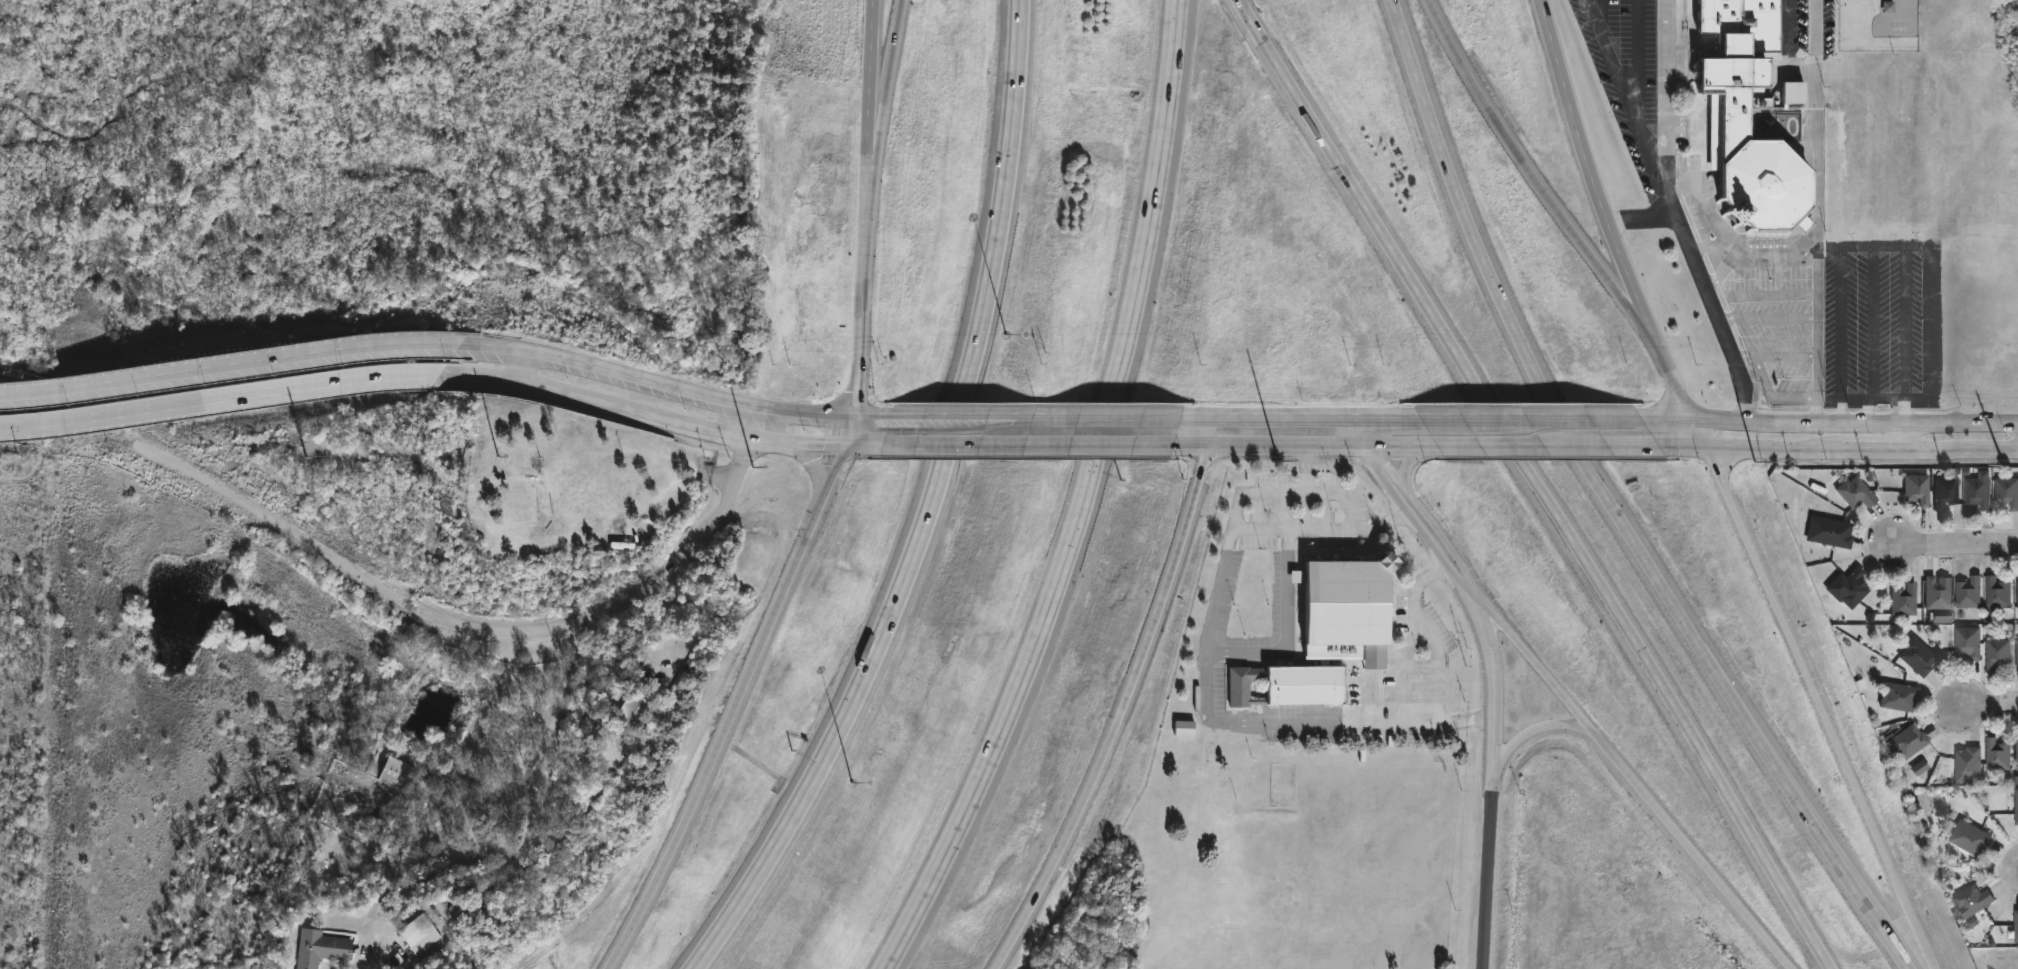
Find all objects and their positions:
road: (1251, 21)
road: (894, 50)
road: (1801, 58)
road: (1665, 72)
building: (1789, 92)
building: (1725, 113)
road: (1640, 125)
road: (1509, 137)
road: (876, 140)
road: (1589, 162)
road: (1668, 162)
road: (1819, 210)
road: (864, 222)
road: (1753, 255)
road: (1703, 283)
road: (1626, 293)
street lamp: (1007, 334)
road: (230, 361)
road: (523, 363)
road: (658, 380)
road: (1680, 382)
road: (1937, 389)
road: (221, 393)
road: (643, 409)
road: (1903, 410)
road: (872, 415)
road: (954, 415)
road: (1099, 416)
road: (1265, 417)
road: (1387, 420)
road: (1470, 420)
road: (1580, 420)
road: (1830, 421)
road: (1901, 436)
road: (1549, 442)
road: (863, 444)
road: (1027, 444)
road: (1306, 444)
road: (1837, 450)
power tower: (315, 459)
road: (1407, 461)
road: (819, 464)
road: (1304, 468)
building: (1916, 488)
building: (1854, 492)
building: (1945, 492)
building: (1976, 492)
building: (2006, 492)
road: (1084, 500)
road: (1414, 502)
road: (1552, 504)
road: (1613, 504)
road: (1402, 505)
road: (928, 509)
road: (1326, 526)
road: (1262, 527)
building: (1833, 532)
road: (1953, 543)
road: (345, 565)
building: (1851, 587)
building: (1936, 591)
building: (1355, 593)
building: (1967, 593)
building: (1996, 593)
building: (2017, 594)
building: (1903, 599)
road: (1289, 608)
road: (1410, 636)
building: (1966, 643)
building: (1996, 653)
building: (2016, 653)
building: (1916, 654)
road: (1206, 656)
road: (1439, 659)
building: (1289, 684)
park: (22, 690)
building: (1898, 695)
road: (559, 698)
road: (1369, 698)
park: (15, 700)
road: (1124, 701)
road: (1989, 705)
road: (1825, 707)
road: (731, 710)
building: (632, 712)
road: (1540, 729)
building: (1904, 740)
building: (2017, 754)
building: (1997, 755)
building: (1966, 764)
building: (398, 772)
road: (1495, 772)
road: (1630, 774)
street lamp: (853, 782)
building: (2016, 806)
building: (1968, 837)
building: (1971, 899)
building: (2015, 926)
building: (421, 934)
building: (323, 949)

